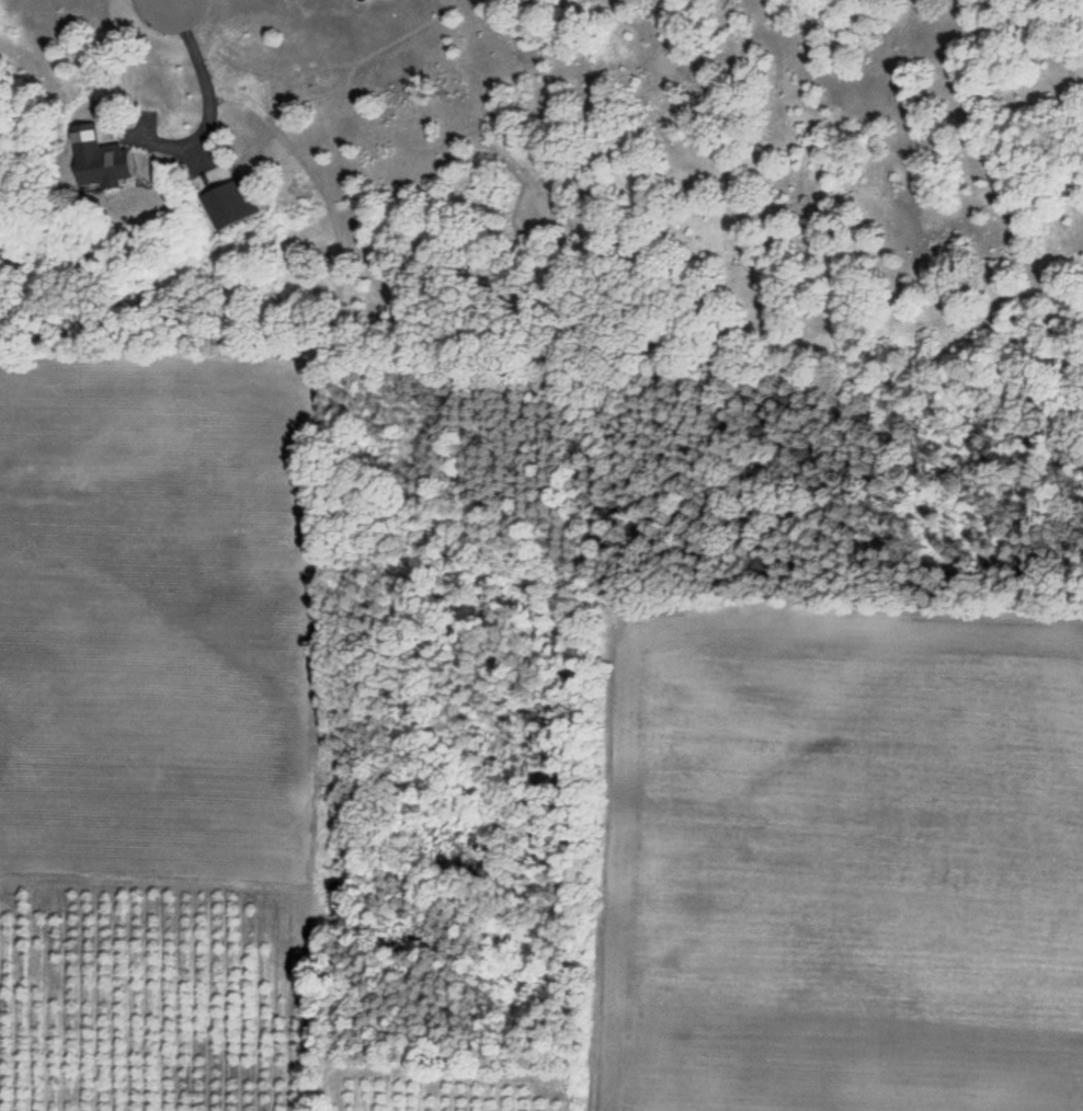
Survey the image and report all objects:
road: (212, 98)

